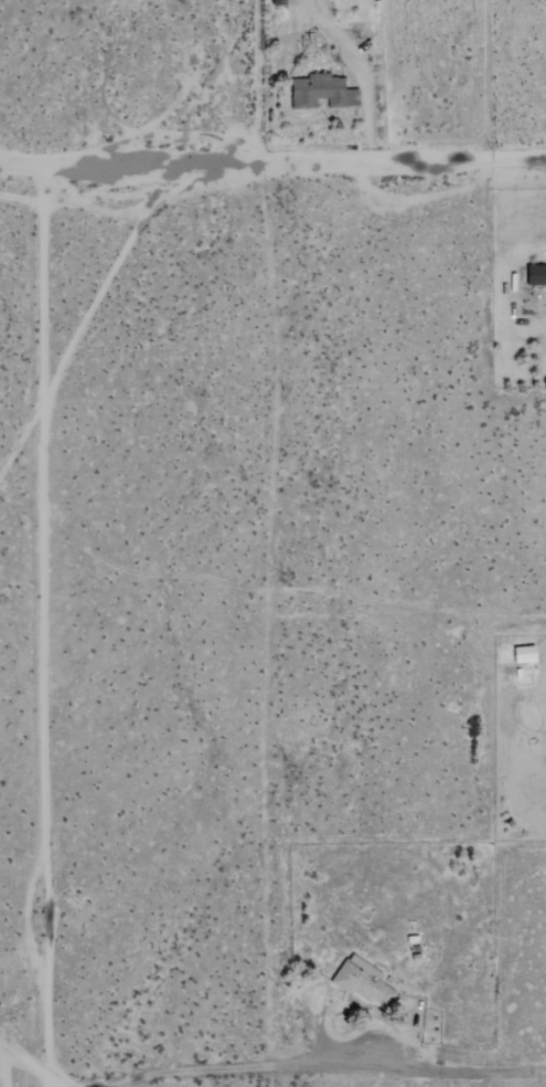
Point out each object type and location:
building: (323, 92)
road: (272, 169)
building: (537, 275)
road: (46, 627)
building: (518, 654)
building: (363, 980)
road: (297, 1069)

